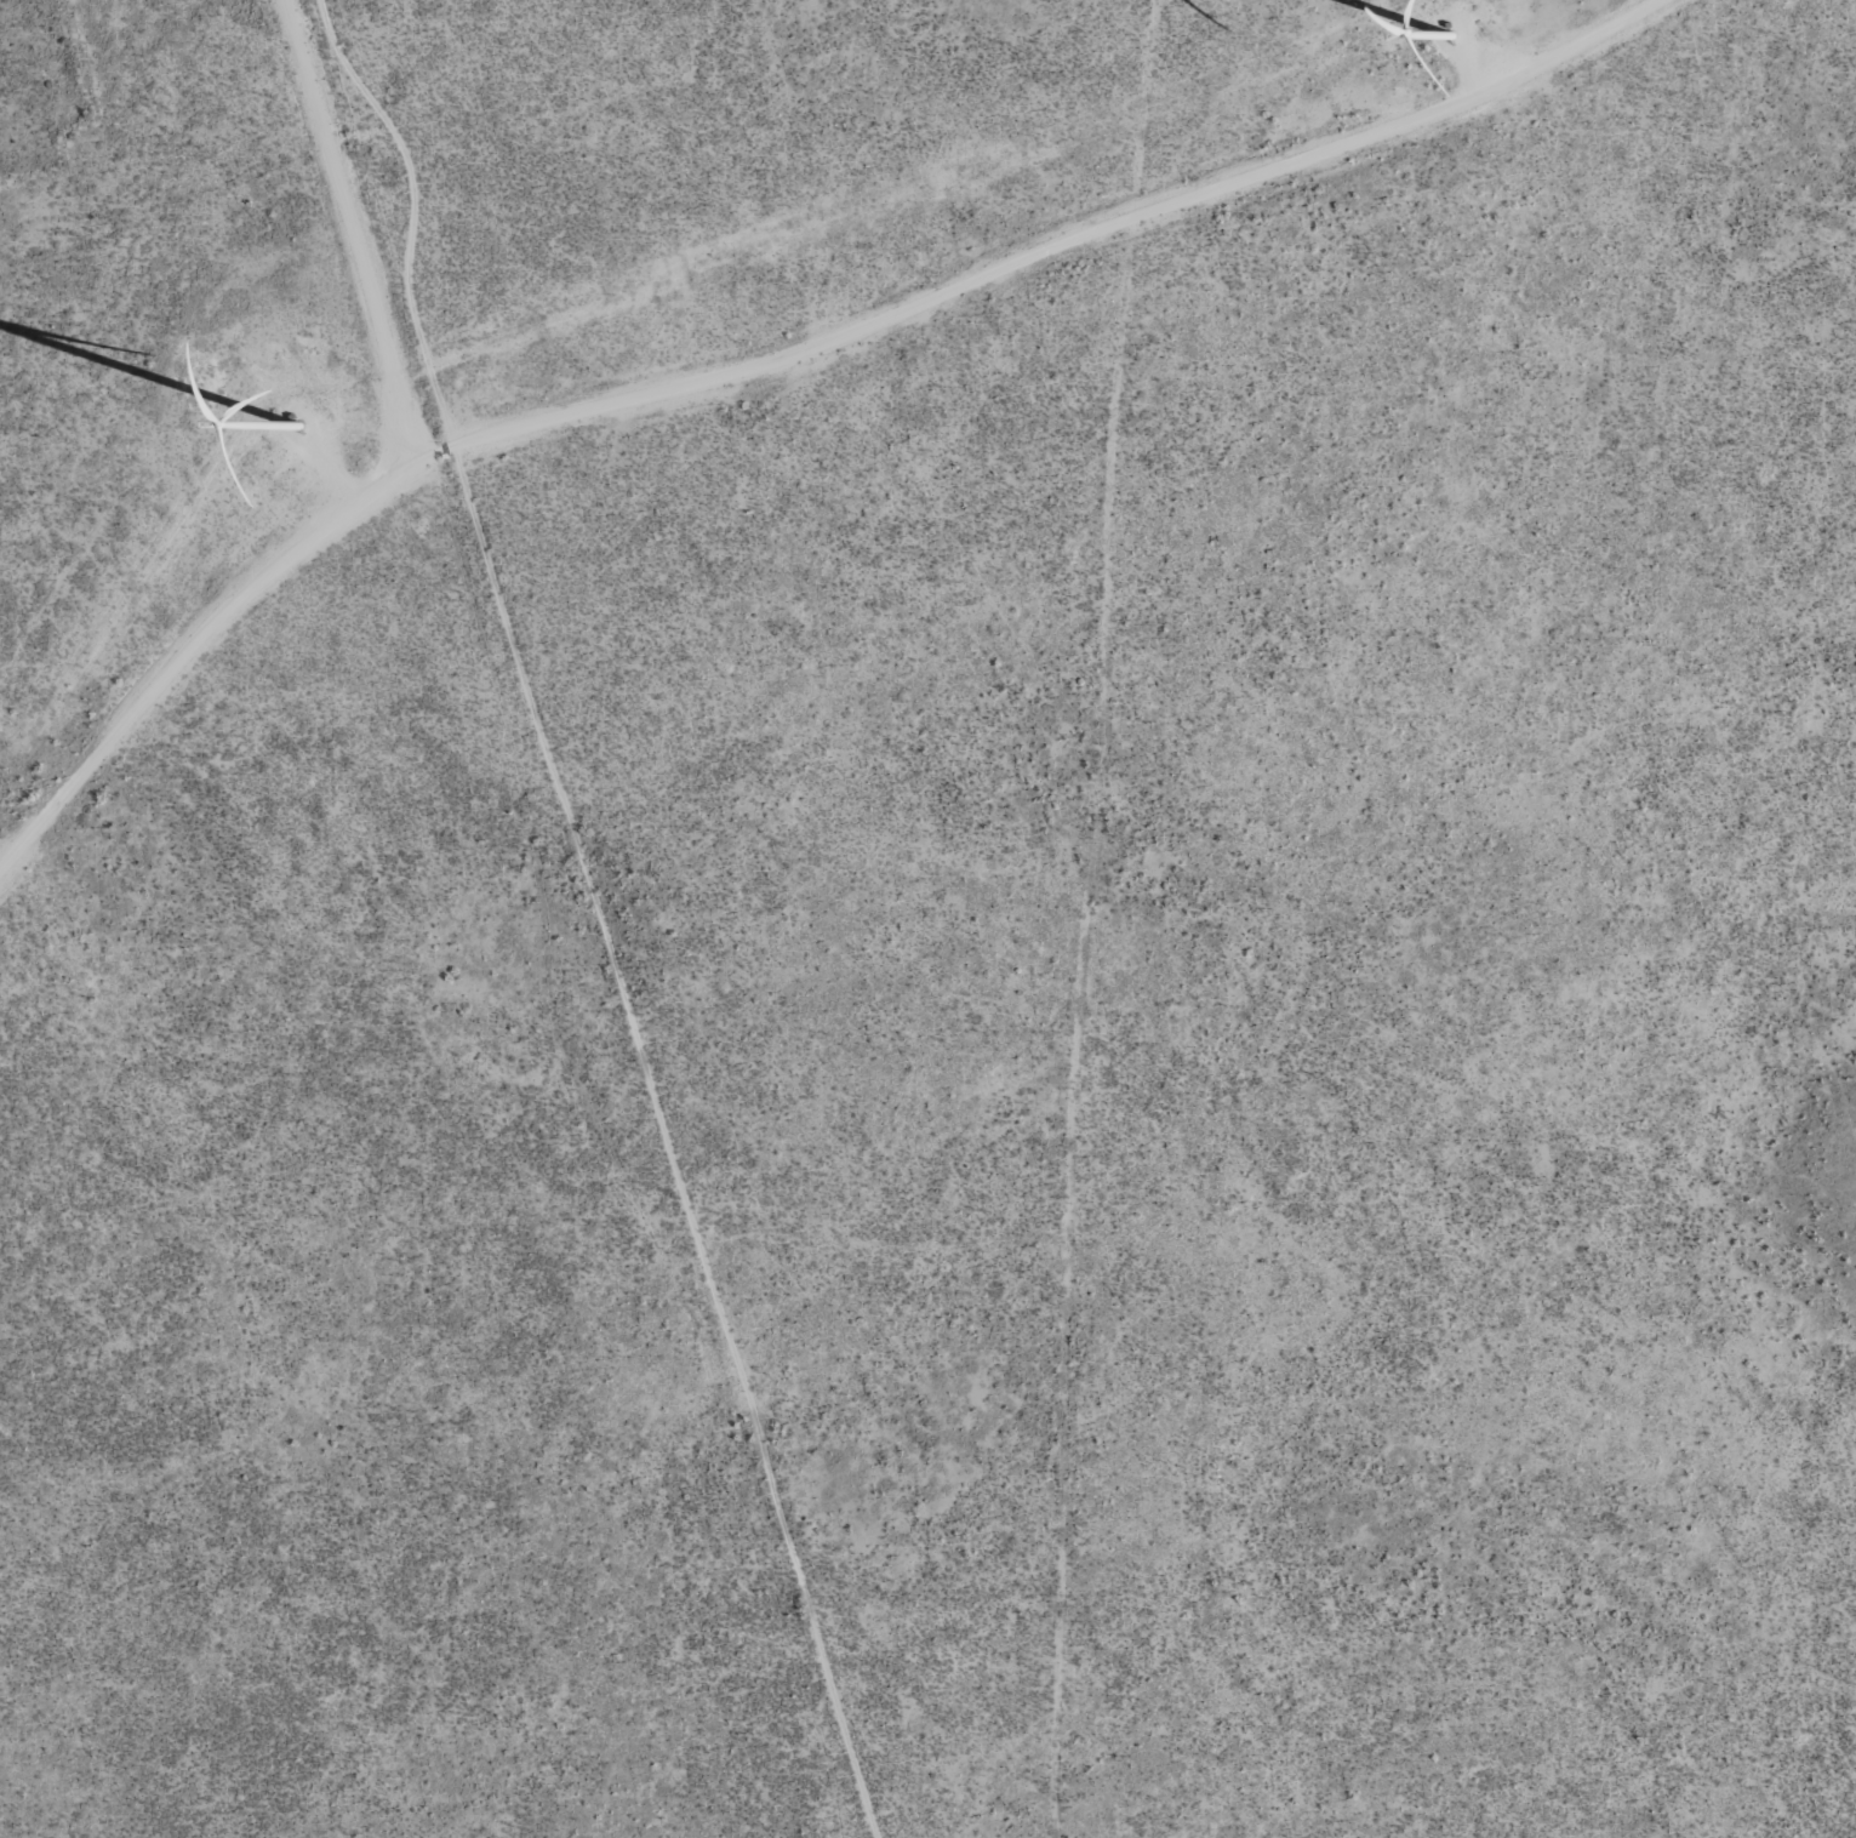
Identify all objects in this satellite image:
wind turbine: (1449, 35)
wind turbine: (298, 424)
road: (544, 914)

